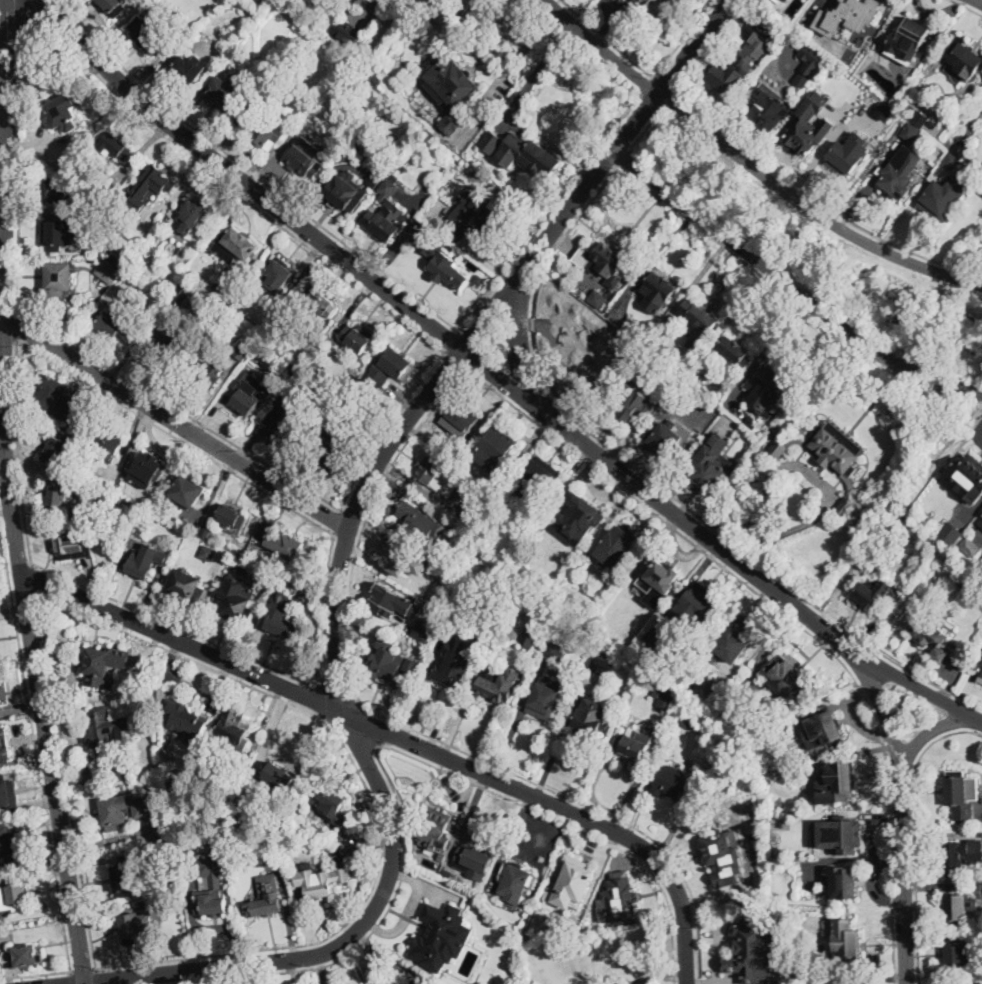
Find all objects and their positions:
building: (782, 0)
road: (981, 0)
building: (785, 1)
road: (363, 5)
building: (655, 5)
building: (114, 6)
road: (967, 6)
road: (51, 8)
road: (30, 10)
building: (848, 15)
road: (503, 22)
building: (348, 31)
building: (151, 32)
building: (762, 38)
building: (908, 41)
road: (693, 46)
road: (709, 46)
road: (601, 47)
road: (10, 50)
building: (965, 58)
building: (809, 62)
road: (515, 64)
building: (367, 66)
building: (187, 69)
road: (645, 71)
road: (536, 72)
building: (730, 73)
building: (378, 80)
road: (663, 85)
building: (499, 87)
road: (647, 87)
building: (451, 91)
building: (220, 94)
road: (123, 101)
road: (667, 102)
road: (651, 103)
building: (765, 110)
building: (885, 111)
building: (62, 112)
building: (919, 119)
building: (932, 125)
building: (264, 129)
road: (646, 131)
building: (910, 131)
building: (802, 135)
building: (491, 142)
building: (115, 146)
building: (960, 149)
building: (849, 154)
building: (305, 157)
building: (530, 158)
road: (625, 158)
building: (951, 161)
building: (980, 166)
building: (62, 170)
building: (899, 173)
building: (374, 178)
building: (152, 184)
building: (107, 185)
building: (388, 187)
building: (51, 192)
building: (347, 193)
building: (941, 199)
road: (816, 201)
road: (808, 207)
building: (194, 215)
building: (475, 216)
building: (386, 221)
building: (57, 236)
building: (115, 241)
building: (235, 245)
building: (607, 257)
building: (443, 262)
road: (372, 265)
building: (108, 271)
building: (279, 274)
building: (59, 278)
building: (480, 279)
road: (790, 284)
building: (183, 293)
building: (657, 293)
building: (221, 294)
building: (597, 300)
building: (323, 304)
building: (246, 315)
road: (532, 316)
building: (697, 321)
building: (120, 324)
road: (18, 326)
building: (631, 330)
road: (518, 334)
building: (169, 337)
building: (355, 337)
building: (251, 340)
road: (452, 341)
road: (451, 342)
building: (730, 348)
building: (242, 351)
road: (455, 359)
building: (677, 362)
building: (393, 368)
building: (211, 374)
building: (301, 384)
building: (769, 384)
building: (693, 386)
building: (55, 396)
building: (244, 397)
building: (629, 402)
building: (686, 408)
building: (348, 409)
building: (736, 409)
road: (180, 411)
building: (339, 415)
building: (462, 417)
building: (287, 418)
road: (169, 419)
building: (701, 426)
road: (387, 427)
building: (772, 433)
road: (175, 437)
building: (665, 439)
building: (106, 442)
building: (500, 446)
building: (59, 449)
building: (325, 449)
building: (760, 450)
road: (18, 453)
building: (830, 457)
building: (148, 464)
building: (711, 465)
building: (432, 473)
building: (535, 476)
building: (972, 477)
road: (823, 488)
building: (187, 491)
road: (10, 494)
building: (59, 496)
building: (931, 510)
building: (585, 515)
building: (231, 517)
building: (417, 521)
building: (486, 522)
road: (338, 523)
building: (207, 529)
building: (949, 533)
road: (360, 538)
building: (285, 543)
building: (71, 545)
building: (618, 545)
building: (970, 547)
building: (207, 553)
building: (401, 558)
building: (144, 560)
building: (246, 567)
building: (663, 574)
road: (34, 578)
building: (290, 584)
building: (187, 585)
building: (870, 593)
building: (396, 601)
building: (696, 604)
building: (236, 606)
road: (335, 609)
road: (787, 614)
building: (281, 615)
building: (424, 630)
building: (530, 634)
building: (930, 637)
building: (561, 640)
building: (650, 641)
building: (731, 641)
building: (555, 650)
road: (244, 655)
building: (386, 661)
building: (454, 662)
building: (104, 663)
building: (412, 666)
building: (597, 667)
building: (979, 675)
building: (793, 680)
building: (717, 688)
road: (919, 688)
building: (493, 689)
road: (320, 698)
building: (547, 698)
building: (0, 699)
building: (664, 700)
building: (185, 720)
building: (591, 720)
building: (689, 721)
building: (828, 725)
building: (107, 730)
building: (232, 730)
road: (387, 733)
road: (930, 733)
road: (399, 741)
building: (4, 742)
building: (635, 743)
road: (33, 745)
building: (122, 770)
building: (798, 774)
road: (63, 780)
building: (279, 781)
building: (668, 781)
building: (838, 783)
road: (369, 793)
building: (8, 794)
building: (963, 794)
building: (177, 796)
building: (333, 805)
road: (596, 809)
building: (123, 810)
road: (902, 814)
building: (184, 820)
road: (573, 827)
building: (270, 832)
road: (915, 834)
building: (434, 836)
building: (838, 836)
building: (8, 840)
building: (270, 846)
building: (170, 853)
building: (443, 856)
building: (723, 856)
building: (961, 856)
building: (473, 862)
building: (446, 873)
building: (124, 878)
building: (517, 880)
building: (571, 882)
building: (326, 883)
building: (845, 883)
building: (210, 886)
building: (13, 893)
building: (264, 897)
building: (617, 897)
building: (180, 907)
building: (959, 908)
building: (541, 920)
building: (136, 926)
road: (372, 934)
building: (441, 935)
building: (848, 939)
building: (751, 950)
building: (25, 955)
building: (960, 955)
road: (83, 970)
road: (35, 973)
road: (96, 975)
road: (71, 978)

